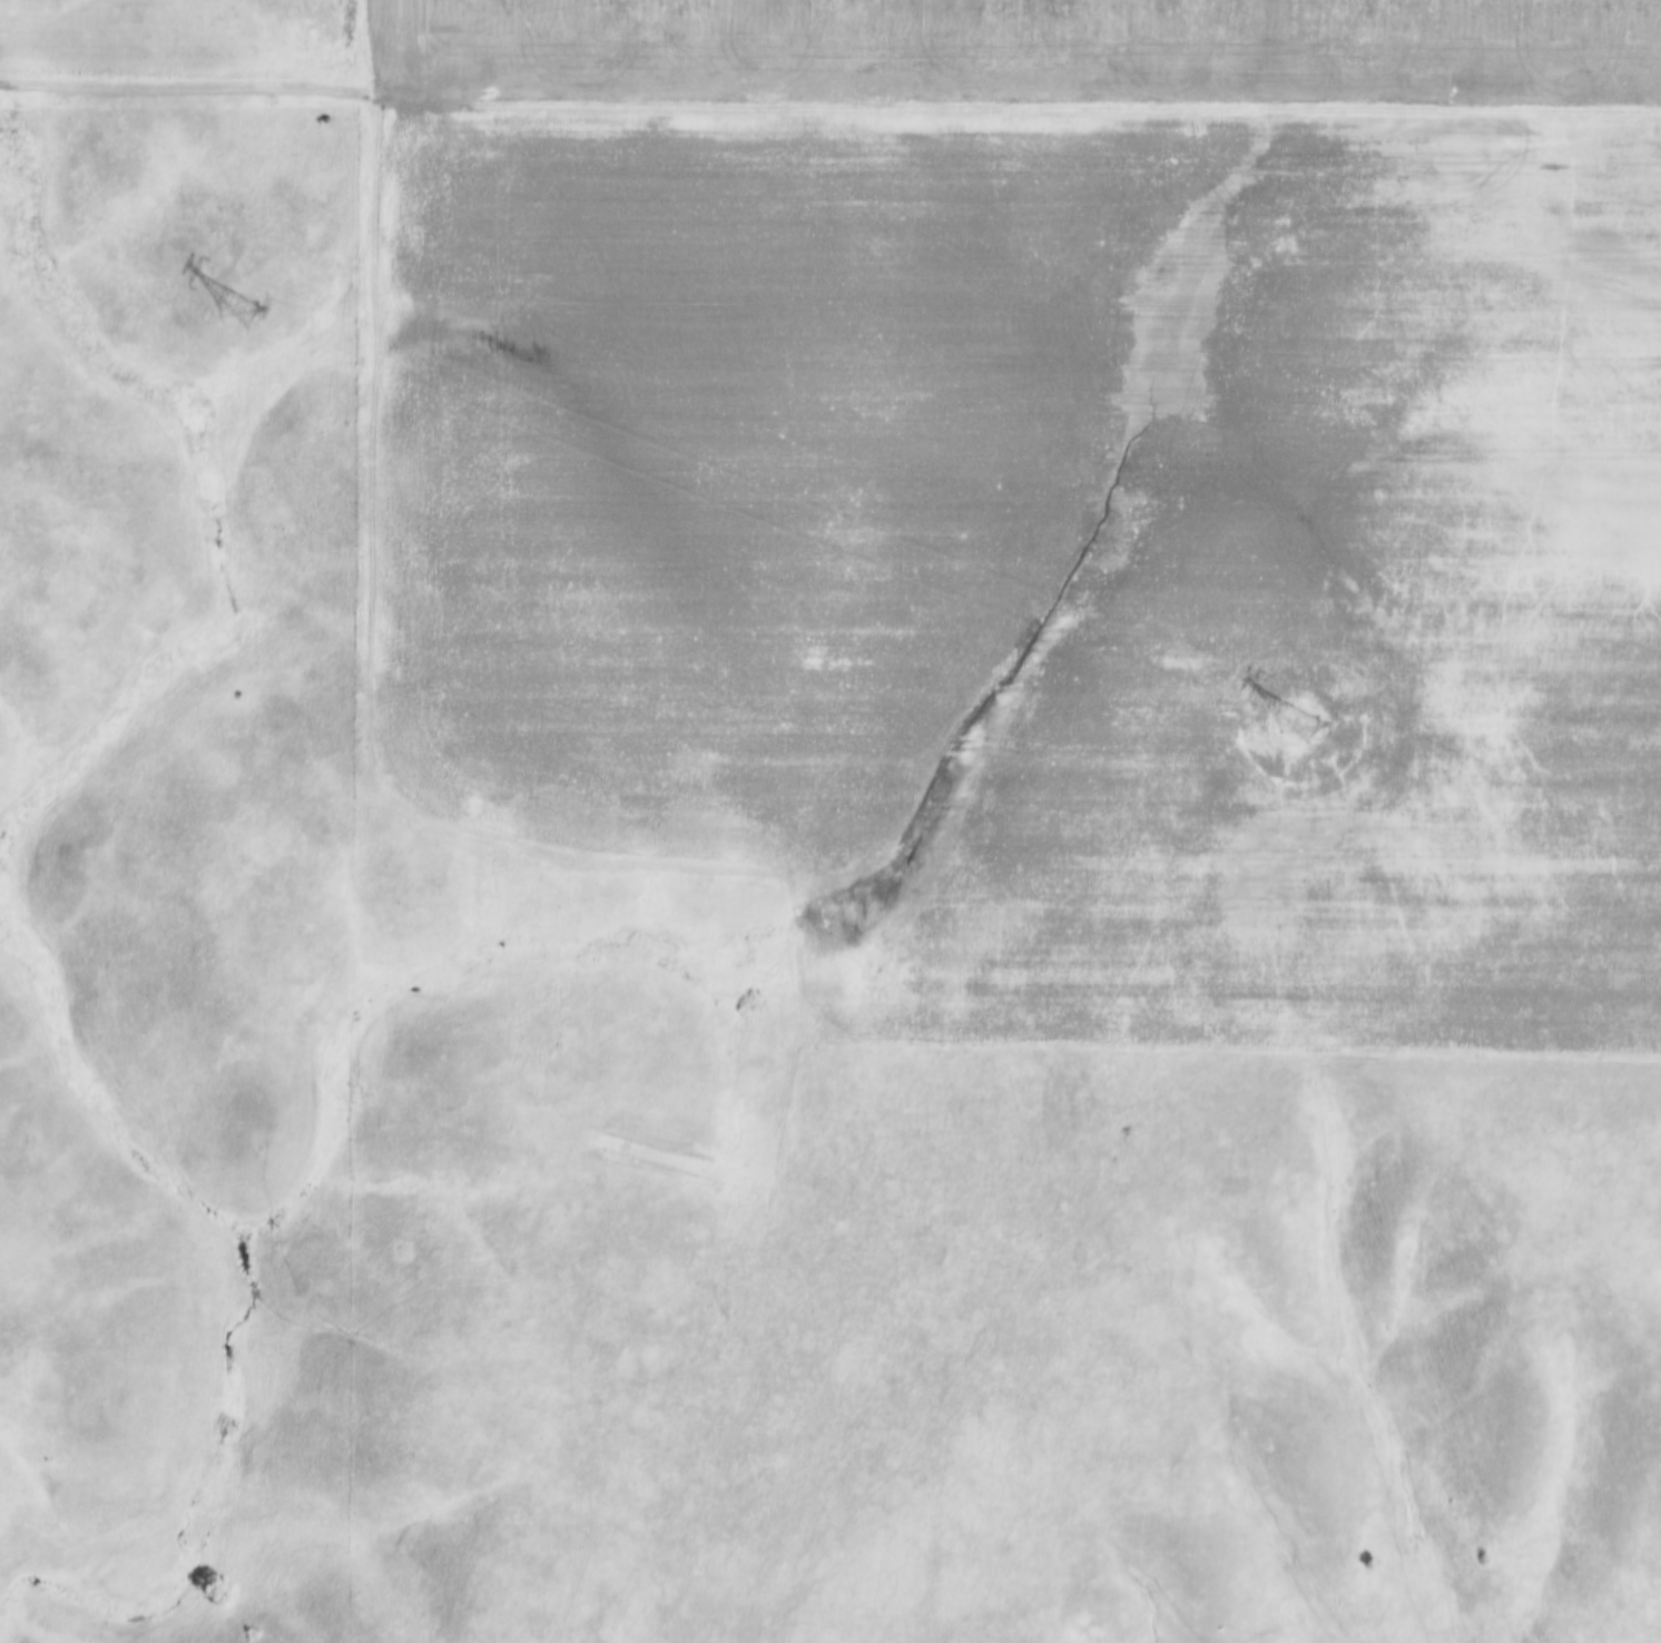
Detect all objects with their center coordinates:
road: (827, 106)
power tower: (237, 313)
power tower: (1299, 722)

